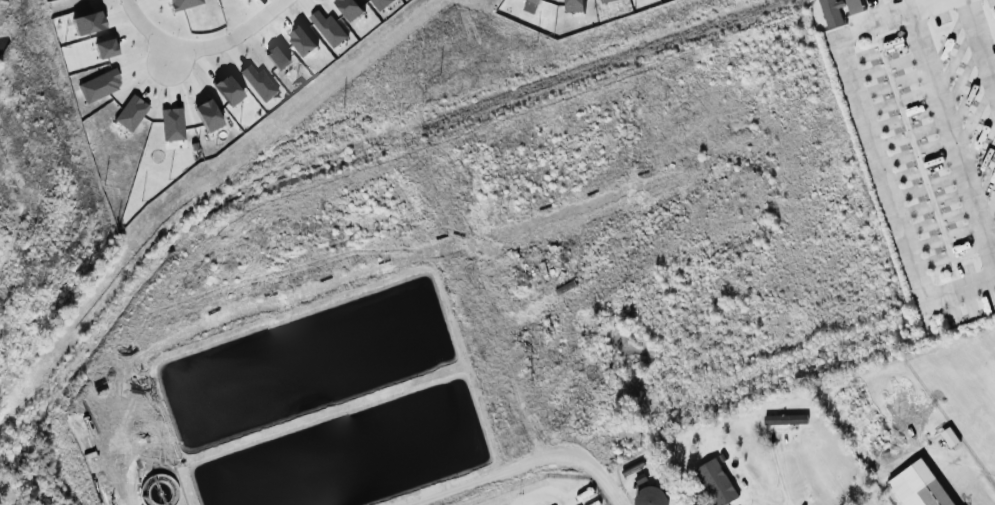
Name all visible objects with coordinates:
building: (604, 0)
parking lot: (872, 2)
parking lot: (990, 2)
building: (380, 3)
building: (182, 4)
road: (146, 5)
road: (263, 5)
road: (307, 5)
building: (529, 5)
building: (573, 5)
building: (852, 5)
building: (349, 8)
building: (830, 11)
road: (283, 15)
road: (118, 16)
parking lot: (940, 17)
building: (86, 22)
road: (145, 27)
building: (327, 27)
street lamp: (896, 27)
street lamp: (224, 32)
road: (263, 32)
road: (131, 34)
road: (232, 37)
building: (301, 39)
building: (105, 47)
road: (977, 49)
street lamp: (144, 50)
road: (234, 54)
building: (276, 57)
road: (146, 59)
road: (202, 62)
street lamp: (192, 68)
road: (156, 71)
road: (185, 73)
road: (173, 75)
building: (259, 82)
building: (98, 85)
building: (227, 89)
road: (859, 106)
building: (130, 112)
building: (206, 114)
building: (171, 124)
road: (950, 143)
parking lot: (964, 268)
road: (960, 284)
building: (936, 321)
building: (784, 418)
road: (519, 466)
building: (714, 482)
road: (776, 482)
building: (938, 492)
road: (538, 494)
building: (649, 496)
storage tank: (649, 496)
road: (976, 497)

